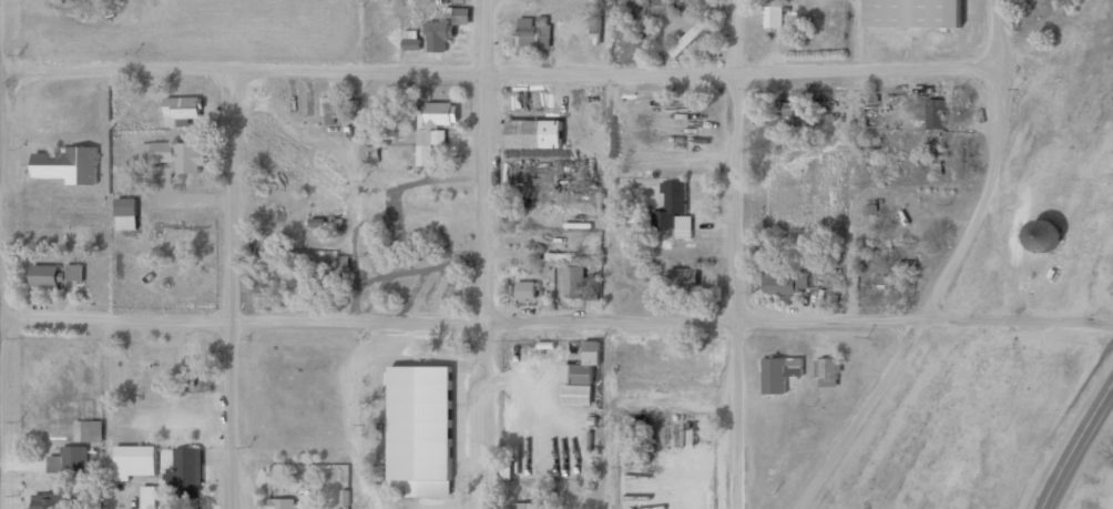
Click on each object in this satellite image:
building: (912, 13)
building: (773, 17)
building: (446, 26)
building: (694, 30)
building: (532, 33)
road: (496, 73)
building: (334, 106)
building: (180, 110)
building: (936, 113)
building: (430, 128)
building: (522, 133)
building: (176, 153)
building: (930, 161)
building: (64, 163)
road: (986, 169)
building: (931, 195)
building: (124, 206)
building: (673, 210)
building: (925, 217)
building: (1041, 234)
silo: (1041, 234)
road: (480, 254)
road: (725, 254)
building: (54, 274)
building: (682, 276)
building: (572, 281)
building: (785, 283)
building: (879, 283)
road: (226, 287)
building: (524, 289)
road: (457, 322)
building: (688, 363)
building: (825, 369)
building: (779, 370)
building: (580, 376)
building: (687, 393)
road: (854, 416)
road: (1074, 446)
building: (71, 458)
building: (133, 459)
building: (184, 467)
building: (506, 468)
building: (146, 497)
building: (50, 500)
building: (279, 502)
building: (527, 505)

